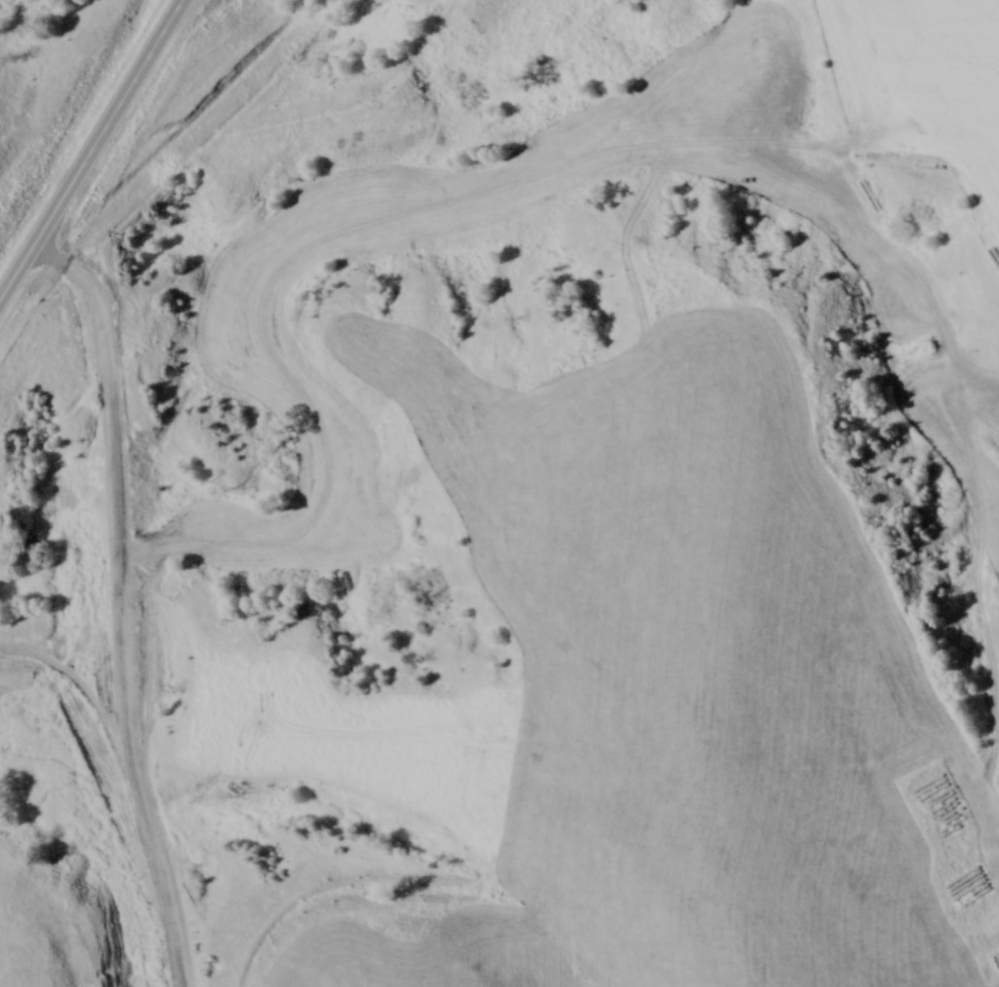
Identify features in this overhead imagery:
road: (93, 151)
road: (136, 786)

